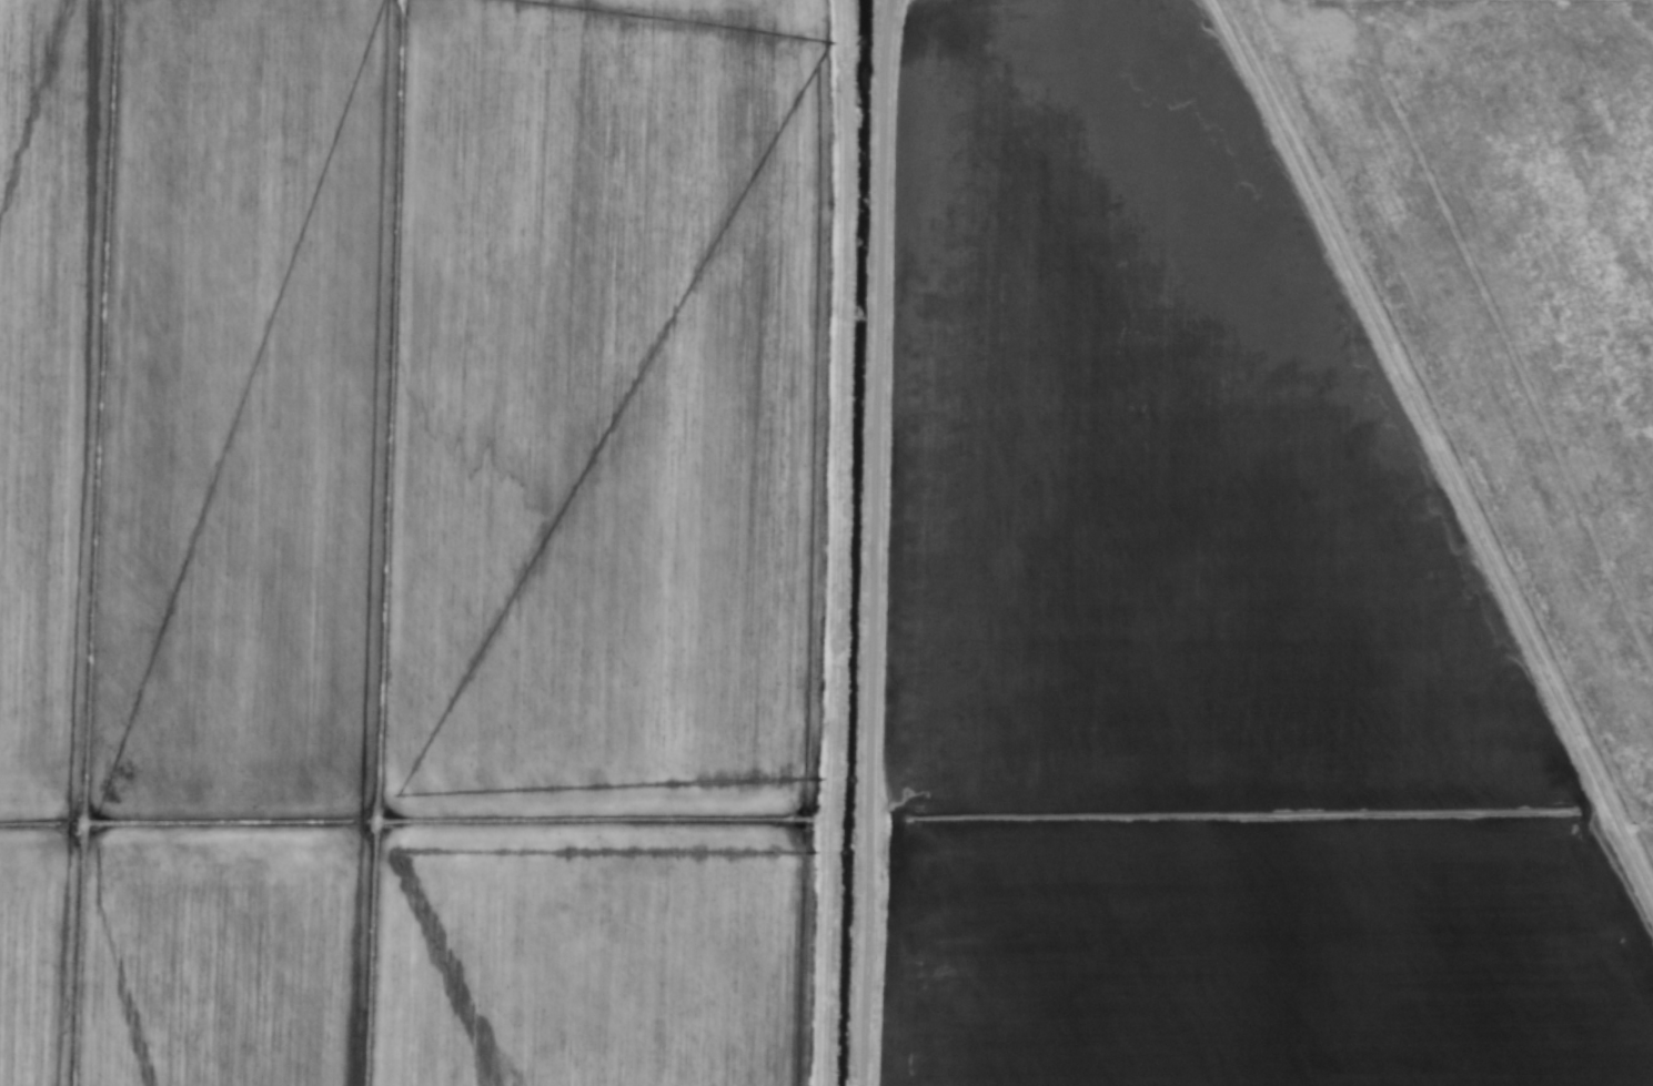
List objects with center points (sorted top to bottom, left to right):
road: (887, 65)
crop: (826, 542)
road: (877, 609)

